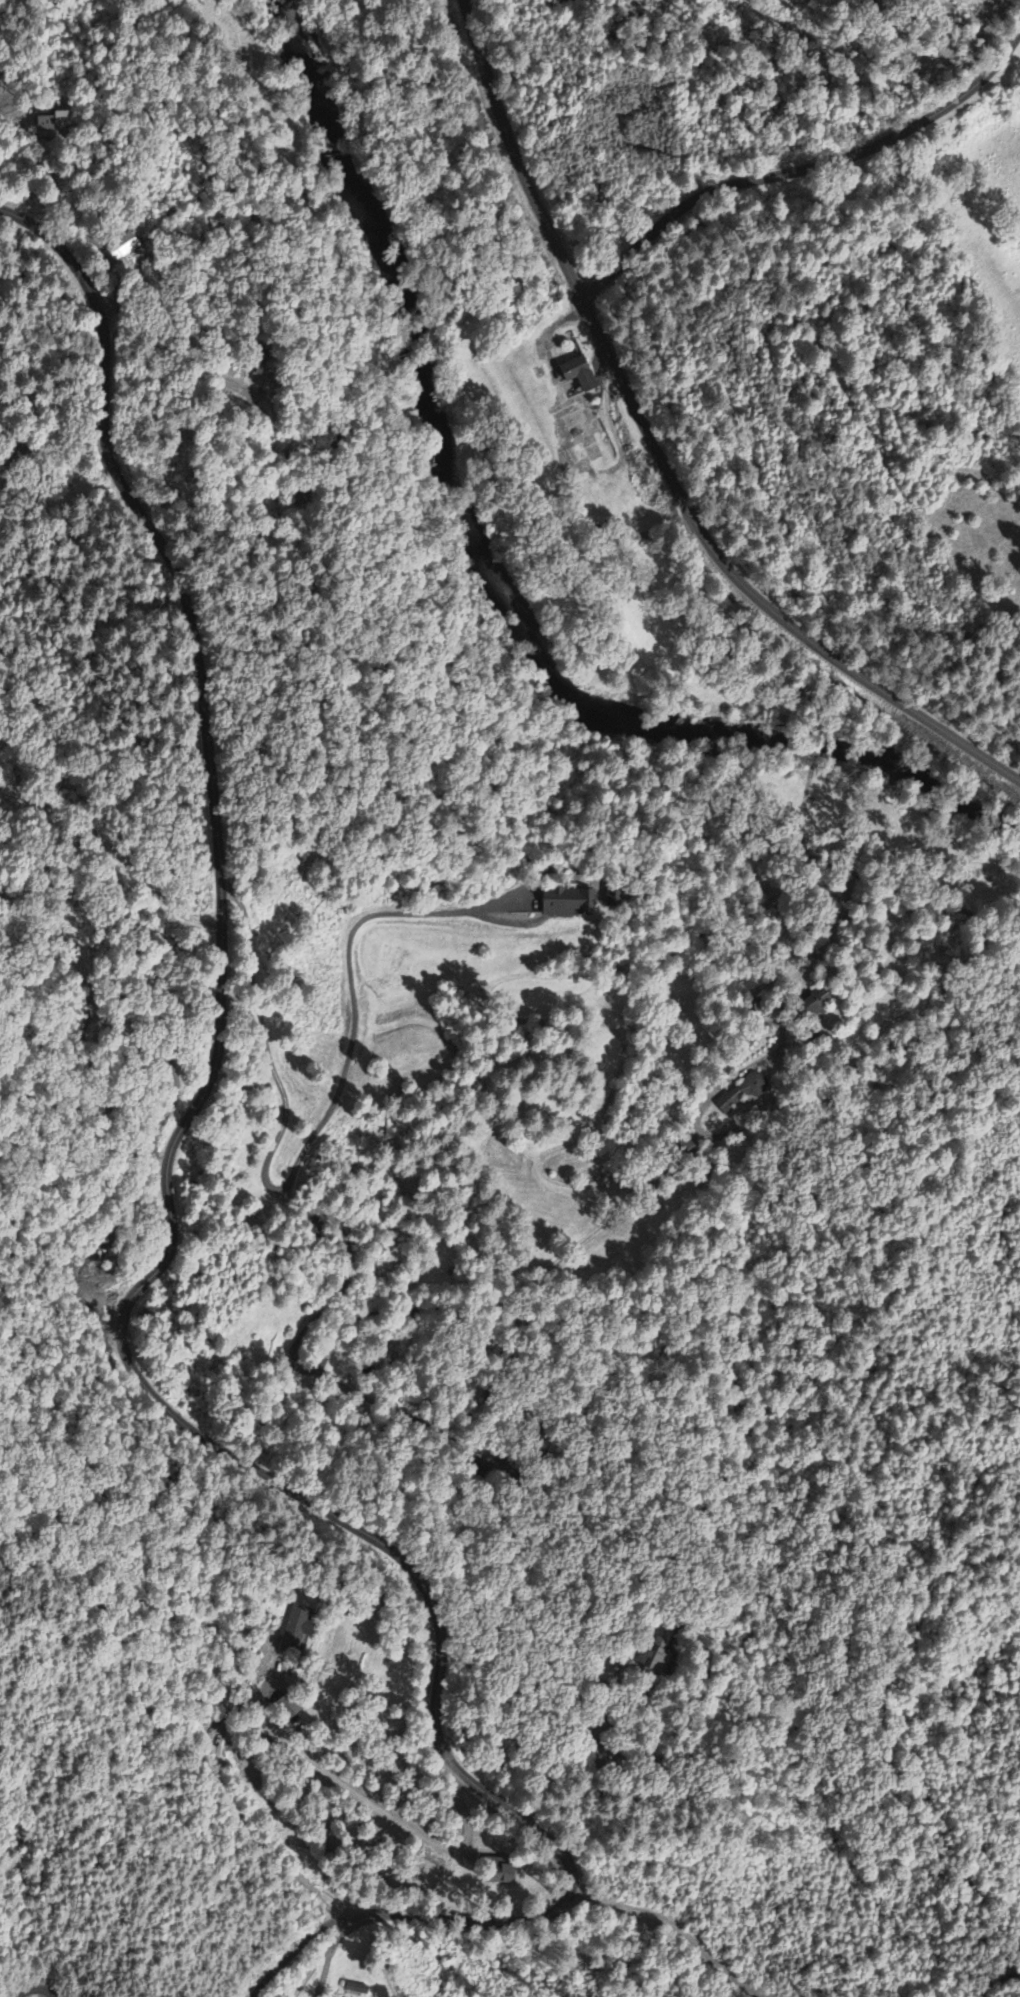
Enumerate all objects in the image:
building: (53, 126)
road: (804, 172)
building: (122, 248)
building: (576, 373)
road: (659, 453)
road: (814, 776)
building: (564, 902)
building: (811, 1004)
road: (792, 1105)
road: (171, 1237)
building: (296, 1628)
building: (285, 1708)
building: (498, 1874)
road: (295, 1949)
road: (318, 1958)
road: (326, 1965)
road: (38, 1988)

